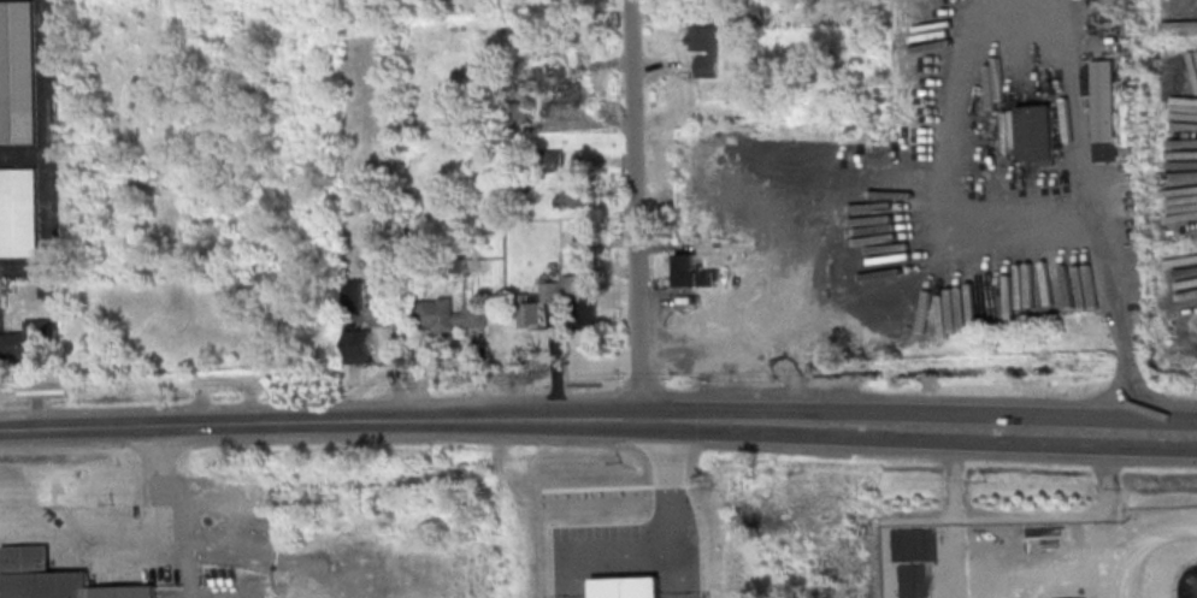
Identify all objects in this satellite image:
building: (797, 7)
building: (703, 49)
building: (17, 75)
building: (564, 89)
building: (1104, 111)
building: (1037, 135)
building: (552, 161)
road: (963, 162)
building: (572, 193)
road: (631, 211)
building: (18, 214)
building: (571, 242)
building: (692, 272)
road: (783, 286)
building: (578, 303)
building: (533, 307)
building: (448, 315)
building: (832, 316)
building: (715, 325)
building: (25, 342)
building: (358, 347)
road: (723, 362)
road: (691, 413)
road: (972, 413)
road: (317, 424)
road: (692, 428)
road: (973, 440)
road: (671, 480)
road: (954, 519)
road: (1110, 521)
road: (602, 545)
road: (1034, 559)
road: (676, 570)
building: (54, 579)
building: (625, 588)

